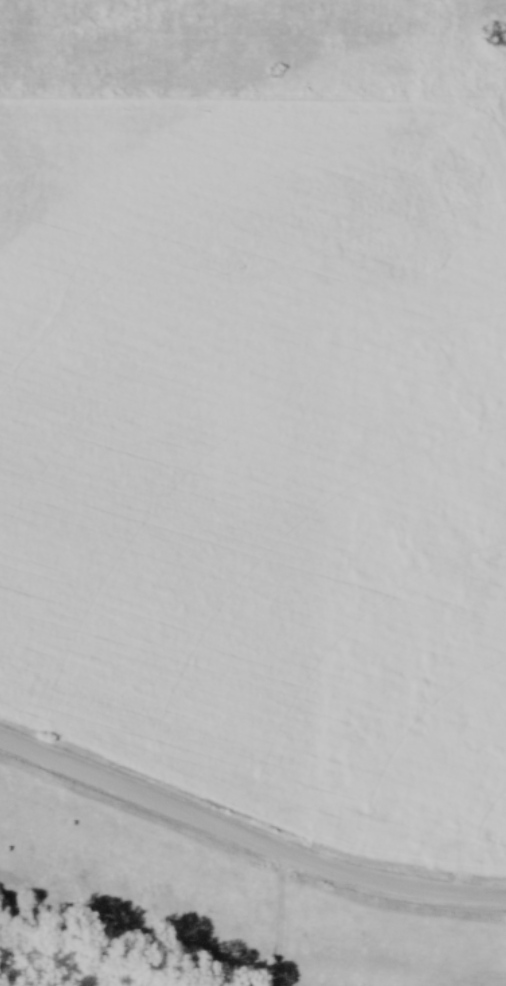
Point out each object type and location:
road: (249, 834)

